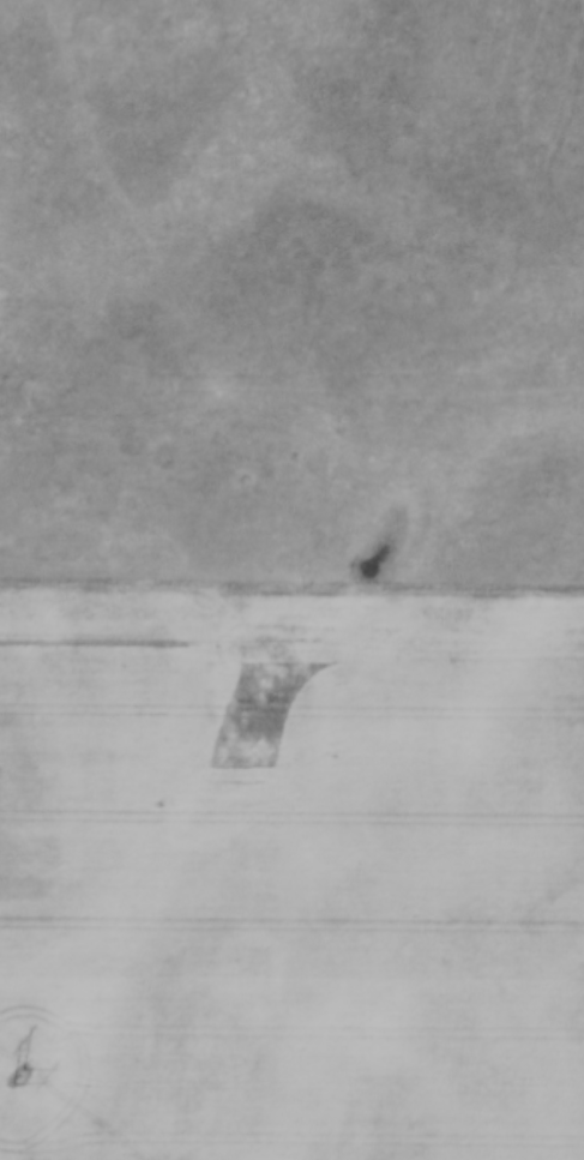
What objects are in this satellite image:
power tower: (20, 1075)

